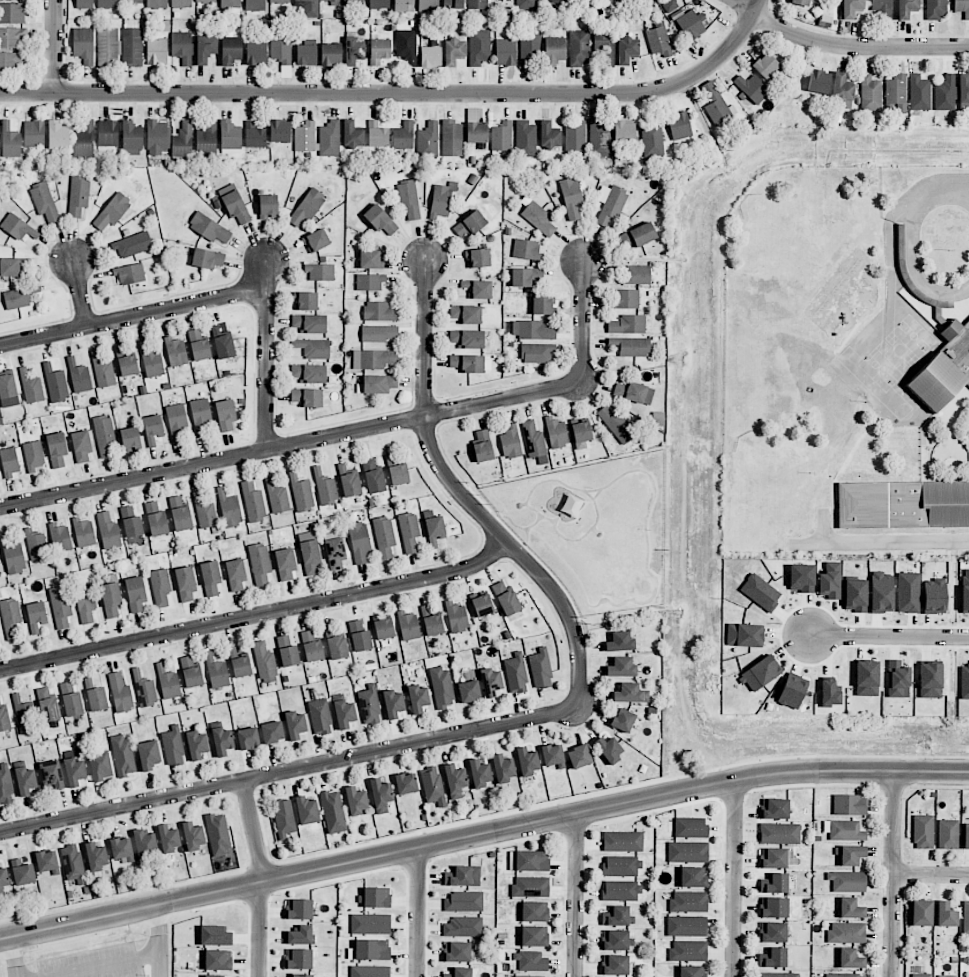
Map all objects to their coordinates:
building: (601, 0)
building: (205, 1)
building: (279, 1)
building: (329, 1)
building: (353, 1)
building: (551, 1)
building: (132, 2)
building: (799, 2)
building: (181, 3)
building: (83, 4)
building: (108, 4)
building: (156, 4)
building: (230, 4)
building: (379, 4)
building: (453, 4)
building: (478, 4)
building: (526, 4)
building: (254, 5)
building: (428, 5)
building: (404, 6)
building: (670, 6)
building: (307, 8)
building: (851, 8)
building: (962, 8)
building: (881, 9)
building: (936, 9)
building: (12, 13)
building: (690, 25)
building: (12, 37)
building: (659, 39)
building: (83, 45)
building: (530, 45)
road: (847, 45)
road: (55, 46)
building: (132, 47)
building: (182, 47)
building: (479, 48)
building: (579, 48)
building: (206, 49)
building: (280, 49)
building: (231, 50)
building: (379, 50)
building: (416, 50)
building: (627, 50)
building: (156, 51)
building: (354, 51)
building: (554, 51)
building: (505, 52)
building: (606, 52)
building: (256, 53)
building: (331, 54)
building: (306, 55)
building: (11, 61)
building: (765, 65)
building: (818, 81)
building: (752, 88)
building: (963, 90)
building: (842, 91)
road: (399, 93)
building: (870, 93)
building: (919, 93)
building: (895, 94)
building: (945, 94)
building: (716, 105)
building: (679, 125)
building: (280, 131)
building: (624, 131)
building: (476, 132)
building: (108, 133)
building: (34, 134)
building: (58, 135)
building: (254, 135)
building: (352, 135)
building: (377, 135)
building: (549, 135)
building: (403, 136)
building: (501, 136)
building: (575, 136)
building: (158, 137)
building: (230, 137)
building: (305, 137)
building: (598, 137)
building: (84, 138)
building: (132, 138)
building: (207, 138)
building: (451, 138)
building: (652, 138)
building: (329, 139)
building: (525, 139)
building: (183, 140)
building: (428, 140)
building: (10, 141)
road: (963, 181)
building: (78, 195)
building: (409, 198)
building: (571, 198)
building: (442, 199)
building: (44, 201)
building: (234, 204)
building: (610, 204)
building: (268, 206)
building: (307, 206)
building: (112, 211)
building: (537, 217)
building: (380, 220)
building: (470, 224)
building: (18, 227)
building: (209, 228)
building: (637, 236)
building: (316, 241)
road: (909, 245)
building: (128, 246)
building: (526, 249)
building: (207, 258)
building: (478, 258)
building: (371, 260)
building: (10, 267)
building: (320, 272)
building: (130, 274)
building: (635, 274)
building: (525, 278)
building: (369, 282)
building: (478, 289)
road: (80, 294)
building: (19, 297)
building: (625, 299)
building: (305, 301)
building: (542, 306)
building: (378, 311)
building: (466, 314)
road: (132, 318)
building: (309, 323)
building: (627, 324)
building: (532, 330)
building: (379, 333)
building: (467, 338)
building: (222, 343)
building: (199, 345)
building: (631, 346)
building: (313, 348)
building: (176, 351)
building: (537, 353)
road: (266, 355)
building: (373, 359)
building: (151, 360)
building: (471, 363)
building: (128, 366)
building: (944, 368)
building: (103, 371)
building: (309, 373)
building: (79, 377)
building: (7, 384)
building: (56, 384)
building: (377, 384)
building: (31, 386)
building: (634, 393)
building: (307, 397)
building: (225, 415)
building: (200, 416)
building: (176, 421)
building: (616, 424)
building: (152, 429)
building: (581, 432)
building: (556, 433)
road: (351, 434)
building: (105, 436)
building: (130, 439)
building: (510, 442)
building: (534, 442)
building: (482, 445)
building: (81, 446)
building: (57, 449)
building: (34, 455)
building: (9, 462)
building: (398, 474)
building: (373, 477)
building: (349, 481)
building: (325, 487)
building: (301, 493)
building: (277, 497)
road: (465, 500)
building: (253, 502)
building: (903, 505)
building: (229, 509)
building: (205, 512)
building: (180, 515)
building: (156, 519)
building: (131, 522)
building: (434, 528)
building: (108, 531)
building: (409, 531)
building: (85, 534)
building: (384, 537)
building: (60, 538)
building: (359, 542)
road: (885, 543)
building: (36, 545)
building: (335, 551)
building: (13, 555)
building: (310, 557)
building: (259, 563)
building: (285, 564)
building: (235, 574)
building: (210, 578)
building: (801, 578)
building: (830, 581)
building: (185, 583)
building: (160, 587)
building: (965, 591)
building: (760, 592)
building: (882, 592)
building: (908, 592)
building: (136, 593)
building: (855, 595)
building: (934, 596)
building: (111, 599)
building: (506, 599)
building: (85, 603)
building: (482, 604)
building: (61, 606)
building: (36, 616)
road: (257, 616)
building: (11, 617)
building: (456, 617)
building: (432, 620)
building: (408, 626)
building: (384, 629)
building: (331, 631)
building: (745, 635)
road: (889, 635)
building: (360, 636)
building: (620, 642)
building: (311, 647)
building: (337, 648)
building: (287, 652)
building: (264, 660)
building: (239, 664)
building: (621, 667)
building: (540, 669)
building: (191, 672)
building: (216, 672)
building: (760, 673)
building: (516, 674)
building: (866, 678)
building: (898, 679)
building: (930, 680)
building: (964, 680)
building: (490, 682)
building: (168, 683)
building: (441, 687)
building: (144, 690)
building: (469, 691)
building: (792, 691)
building: (120, 693)
building: (630, 693)
building: (829, 693)
building: (95, 694)
building: (70, 698)
building: (418, 698)
building: (393, 704)
building: (47, 705)
building: (369, 705)
building: (344, 712)
building: (25, 715)
building: (320, 716)
building: (4, 719)
building: (623, 720)
building: (295, 725)
building: (272, 732)
building: (248, 738)
building: (222, 741)
building: (197, 744)
building: (173, 746)
building: (123, 755)
building: (148, 755)
building: (552, 755)
building: (579, 756)
building: (527, 762)
building: (100, 765)
building: (503, 768)
building: (74, 771)
road: (290, 771)
building: (480, 772)
building: (51, 775)
building: (25, 780)
building: (455, 781)
building: (406, 783)
building: (5, 785)
building: (432, 785)
building: (381, 795)
building: (356, 800)
building: (849, 805)
building: (775, 809)
building: (307, 811)
building: (333, 812)
building: (284, 818)
building: (691, 827)
building: (844, 830)
building: (923, 832)
building: (779, 833)
building: (218, 834)
building: (948, 834)
road: (482, 835)
building: (193, 836)
building: (966, 836)
building: (169, 838)
building: (622, 841)
building: (145, 844)
building: (688, 851)
building: (850, 855)
building: (96, 856)
building: (773, 858)
building: (529, 861)
building: (47, 862)
building: (73, 864)
building: (621, 866)
building: (23, 872)
road: (892, 873)
building: (462, 876)
road: (930, 876)
building: (693, 877)
road: (260, 878)
building: (4, 879)
road: (733, 879)
building: (847, 881)
building: (774, 883)
building: (530, 886)
building: (621, 890)
road: (575, 896)
building: (377, 897)
building: (689, 901)
building: (464, 902)
building: (773, 908)
building: (851, 908)
building: (299, 909)
building: (534, 911)
road: (416, 913)
building: (922, 913)
building: (946, 915)
building: (615, 916)
building: (965, 918)
building: (370, 923)
building: (463, 926)
building: (687, 926)
building: (773, 932)
building: (846, 932)
building: (299, 935)
building: (215, 936)
building: (534, 936)
road: (162, 940)
building: (615, 940)
building: (371, 950)
building: (688, 950)
building: (457, 952)
road: (14, 956)
building: (772, 958)
building: (298, 959)
building: (850, 959)
building: (218, 960)
building: (531, 961)
building: (615, 965)
building: (370, 971)
building: (692, 971)
building: (459, 972)
building: (299, 975)
building: (777, 975)
building: (844, 975)
building: (921, 975)
building: (214, 976)
building: (529, 976)
building: (944, 976)

